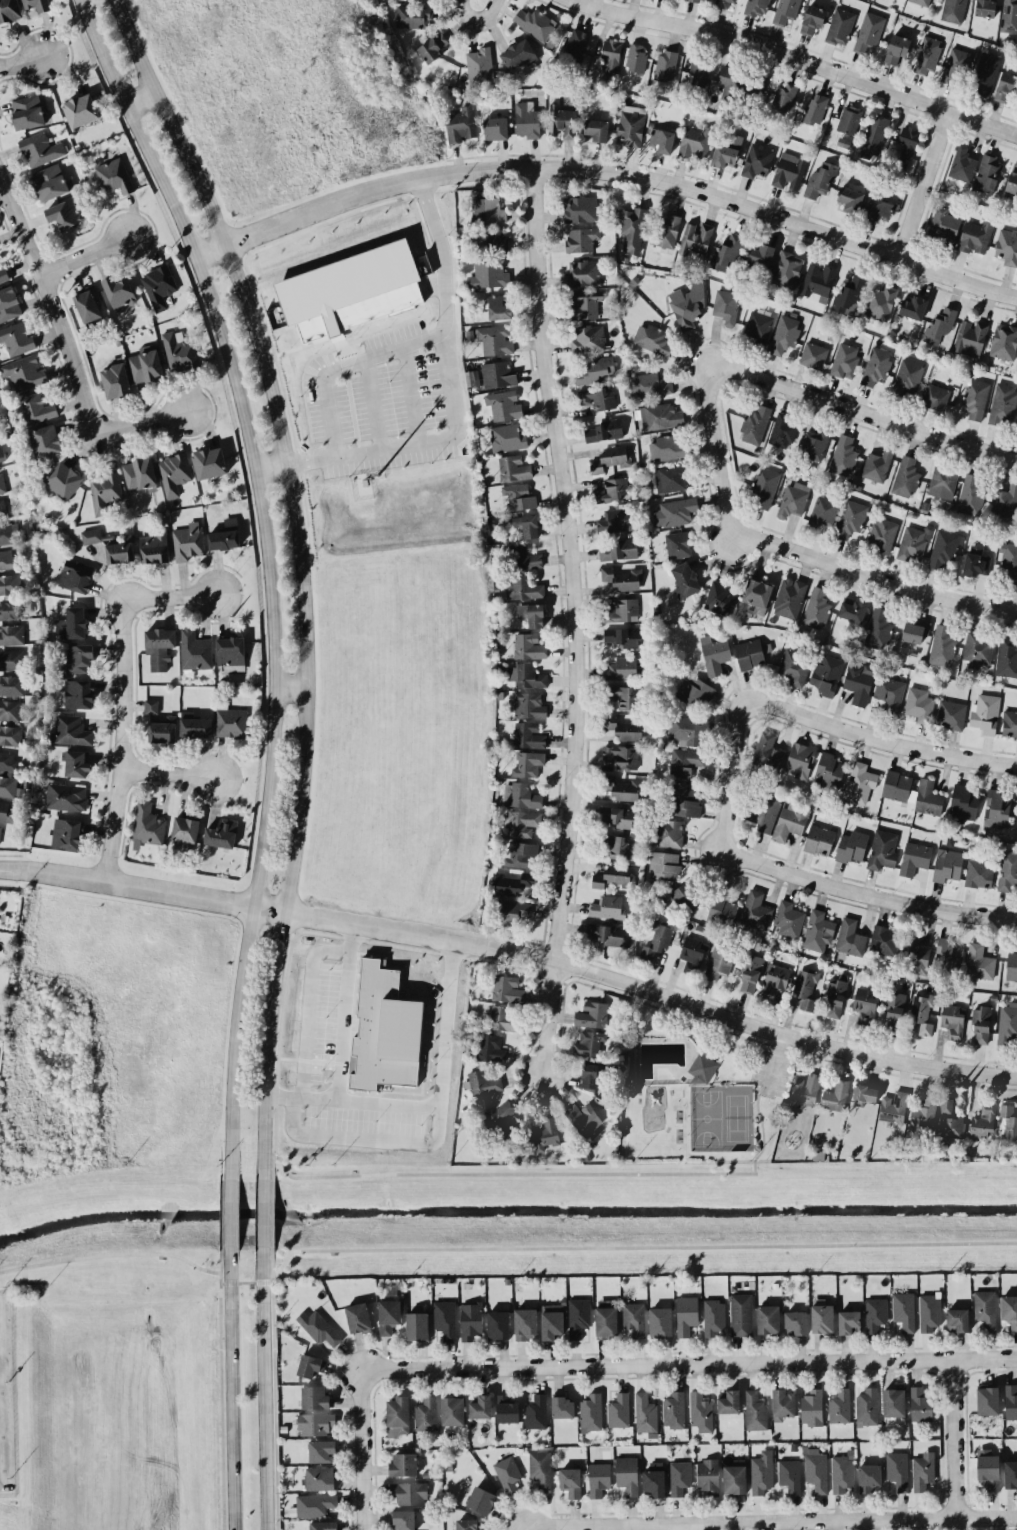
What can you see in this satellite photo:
building: (695, 0)
building: (921, 2)
building: (724, 3)
building: (38, 4)
building: (757, 7)
building: (985, 8)
building: (10, 10)
building: (785, 10)
building: (953, 10)
road: (476, 15)
building: (1009, 15)
building: (414, 16)
building: (812, 19)
building: (535, 22)
building: (840, 26)
building: (869, 31)
building: (576, 42)
building: (433, 47)
building: (897, 47)
building: (927, 54)
building: (520, 56)
road: (799, 56)
road: (21, 58)
building: (636, 58)
building: (666, 64)
building: (956, 66)
building: (480, 68)
building: (699, 70)
building: (985, 73)
building: (730, 79)
building: (1005, 86)
building: (784, 95)
building: (815, 108)
building: (80, 110)
building: (27, 111)
building: (527, 119)
building: (849, 119)
building: (562, 121)
building: (460, 124)
building: (496, 128)
building: (630, 128)
building: (597, 129)
building: (874, 136)
building: (662, 140)
building: (695, 141)
building: (908, 141)
building: (41, 148)
building: (726, 149)
building: (757, 160)
building: (962, 164)
road: (608, 170)
building: (789, 170)
building: (987, 173)
building: (115, 175)
building: (1012, 177)
building: (819, 179)
building: (51, 181)
road: (923, 183)
building: (850, 199)
building: (580, 208)
building: (878, 209)
building: (487, 210)
building: (64, 213)
building: (944, 224)
building: (633, 228)
building: (666, 231)
building: (975, 236)
building: (696, 238)
building: (581, 239)
building: (490, 241)
building: (1007, 246)
building: (726, 252)
building: (760, 254)
road: (83, 257)
building: (786, 269)
building: (584, 272)
building: (488, 274)
building: (3, 275)
building: (818, 280)
building: (159, 285)
building: (351, 290)
building: (118, 291)
building: (848, 294)
building: (880, 302)
building: (9, 303)
building: (585, 303)
building: (87, 305)
building: (726, 305)
building: (499, 307)
building: (914, 307)
road: (49, 308)
building: (685, 310)
building: (757, 326)
building: (938, 328)
building: (784, 333)
building: (970, 337)
building: (17, 338)
building: (495, 339)
building: (588, 339)
building: (652, 339)
building: (1004, 342)
building: (179, 351)
building: (813, 355)
building: (845, 359)
building: (146, 364)
road: (345, 365)
building: (875, 365)
building: (594, 369)
building: (24, 372)
building: (498, 374)
building: (908, 377)
building: (474, 378)
building: (115, 380)
building: (650, 385)
road: (811, 392)
road: (411, 395)
building: (934, 396)
building: (597, 398)
building: (977, 398)
building: (1003, 403)
road: (373, 404)
building: (504, 404)
road: (455, 405)
building: (35, 408)
building: (660, 416)
road: (139, 422)
building: (755, 424)
building: (604, 430)
building: (783, 430)
building: (507, 436)
building: (45, 441)
building: (815, 443)
building: (667, 447)
building: (2, 454)
building: (843, 454)
building: (610, 457)
building: (209, 462)
building: (876, 465)
building: (514, 468)
building: (139, 473)
building: (174, 473)
building: (905, 476)
building: (670, 478)
building: (64, 479)
building: (943, 482)
building: (2, 484)
building: (764, 488)
building: (611, 490)
building: (105, 491)
building: (971, 495)
building: (519, 496)
building: (793, 499)
building: (1006, 501)
building: (2, 509)
building: (675, 511)
building: (823, 511)
building: (850, 518)
building: (615, 520)
building: (527, 524)
building: (9, 533)
building: (882, 534)
building: (225, 535)
building: (188, 541)
building: (913, 543)
building: (678, 544)
building: (109, 545)
building: (944, 547)
building: (154, 548)
building: (617, 550)
building: (528, 556)
building: (6, 559)
building: (1008, 561)
road: (840, 564)
building: (976, 564)
road: (267, 573)
road: (299, 574)
building: (76, 575)
building: (622, 578)
building: (685, 579)
building: (10, 583)
building: (523, 587)
building: (757, 593)
building: (789, 596)
building: (720, 598)
building: (817, 608)
building: (9, 609)
building: (622, 610)
building: (853, 610)
building: (532, 613)
road: (574, 620)
building: (72, 623)
building: (877, 628)
building: (915, 631)
building: (12, 634)
building: (623, 635)
building: (529, 645)
building: (941, 646)
building: (159, 647)
building: (978, 648)
building: (195, 650)
building: (231, 652)
building: (749, 653)
building: (715, 654)
building: (78, 657)
building: (1006, 657)
building: (11, 659)
building: (794, 666)
building: (624, 668)
road: (131, 672)
building: (827, 674)
building: (527, 675)
building: (859, 681)
building: (12, 684)
building: (695, 692)
building: (78, 693)
building: (889, 693)
building: (624, 696)
building: (919, 704)
building: (529, 705)
building: (151, 706)
building: (9, 709)
building: (985, 713)
building: (951, 714)
road: (827, 718)
building: (231, 722)
building: (195, 725)
building: (624, 728)
building: (71, 730)
building: (163, 730)
building: (686, 730)
building: (10, 734)
building: (528, 735)
building: (767, 752)
building: (622, 756)
building: (799, 759)
building: (686, 761)
building: (7, 762)
building: (77, 763)
building: (528, 763)
building: (828, 769)
road: (169, 774)
building: (860, 782)
building: (7, 786)
building: (622, 788)
building: (913, 792)
building: (507, 794)
building: (524, 795)
building: (66, 796)
building: (686, 802)
building: (963, 804)
building: (997, 807)
building: (765, 810)
building: (7, 812)
building: (618, 815)
building: (790, 820)
building: (522, 822)
building: (147, 825)
building: (0, 829)
building: (185, 829)
building: (66, 832)
building: (669, 832)
building: (221, 833)
building: (819, 839)
building: (851, 846)
building: (618, 847)
building: (882, 849)
road: (114, 856)
building: (914, 857)
building: (947, 864)
building: (664, 865)
building: (1007, 870)
building: (979, 873)
building: (611, 876)
building: (511, 883)
road: (851, 886)
building: (685, 897)
building: (607, 907)
building: (755, 910)
building: (512, 911)
building: (722, 911)
building: (789, 918)
building: (818, 931)
building: (610, 933)
building: (850, 937)
building: (656, 940)
building: (884, 940)
road: (513, 950)
building: (691, 954)
building: (947, 954)
building: (719, 961)
building: (979, 962)
building: (1011, 966)
building: (750, 973)
building: (774, 980)
building: (806, 988)
building: (507, 989)
building: (836, 995)
building: (864, 1004)
road: (308, 1005)
road: (345, 1010)
building: (894, 1012)
building: (592, 1014)
building: (921, 1015)
building: (504, 1018)
building: (952, 1019)
building: (1007, 1022)
building: (981, 1025)
building: (385, 1030)
building: (589, 1043)
building: (491, 1047)
road: (773, 1063)
building: (703, 1068)
building: (589, 1075)
building: (482, 1082)
building: (806, 1088)
building: (865, 1093)
building: (836, 1096)
road: (431, 1103)
building: (946, 1104)
building: (894, 1106)
building: (923, 1112)
building: (502, 1118)
building: (583, 1120)
building: (984, 1121)
building: (1009, 1122)
building: (952, 1126)
road: (762, 1131)
building: (545, 1133)
road: (272, 1167)
road: (504, 1172)
road: (228, 1212)
road: (263, 1212)
road: (272, 1212)
river: (507, 1216)
road: (601, 1245)
road: (111, 1254)
road: (272, 1257)
building: (985, 1308)
building: (904, 1310)
building: (1009, 1310)
building: (929, 1312)
building: (875, 1313)
building: (686, 1314)
building: (741, 1314)
building: (389, 1315)
building: (578, 1316)
building: (358, 1317)
building: (714, 1317)
building: (822, 1317)
building: (445, 1318)
building: (606, 1318)
building: (634, 1318)
building: (768, 1319)
building: (471, 1320)
building: (957, 1320)
building: (552, 1321)
building: (660, 1321)
building: (849, 1321)
building: (795, 1322)
building: (525, 1323)
building: (498, 1324)
building: (417, 1325)
building: (320, 1328)
road: (687, 1362)
building: (310, 1365)
road: (231, 1388)
road: (267, 1388)
building: (315, 1397)
building: (988, 1400)
building: (729, 1401)
building: (894, 1401)
building: (1011, 1401)
wastewater plant: (7, 1402)
building: (783, 1404)
building: (920, 1404)
road: (223, 1406)
road: (275, 1406)
building: (481, 1406)
building: (840, 1406)
building: (867, 1406)
building: (563, 1407)
building: (812, 1407)
building: (508, 1408)
building: (453, 1410)
building: (619, 1410)
building: (674, 1410)
building: (755, 1410)
building: (536, 1411)
building: (700, 1411)
building: (591, 1412)
building: (645, 1412)
building: (426, 1413)
building: (397, 1416)
building: (316, 1423)
road: (952, 1438)
road: (358, 1449)
building: (321, 1450)
building: (404, 1464)
building: (541, 1468)
building: (988, 1468)
building: (815, 1469)
building: (897, 1470)
building: (923, 1470)
building: (761, 1472)
building: (508, 1473)
building: (841, 1473)
building: (1010, 1473)
building: (627, 1474)
building: (790, 1474)
building: (680, 1476)
building: (708, 1477)
building: (869, 1477)
building: (319, 1478)
building: (599, 1478)
building: (734, 1478)
building: (654, 1479)
building: (570, 1481)
building: (409, 1492)
building: (481, 1499)
building: (313, 1505)
building: (403, 1519)
road: (769, 1522)
building: (468, 1524)
road: (677, 1527)
road: (522, 1528)

